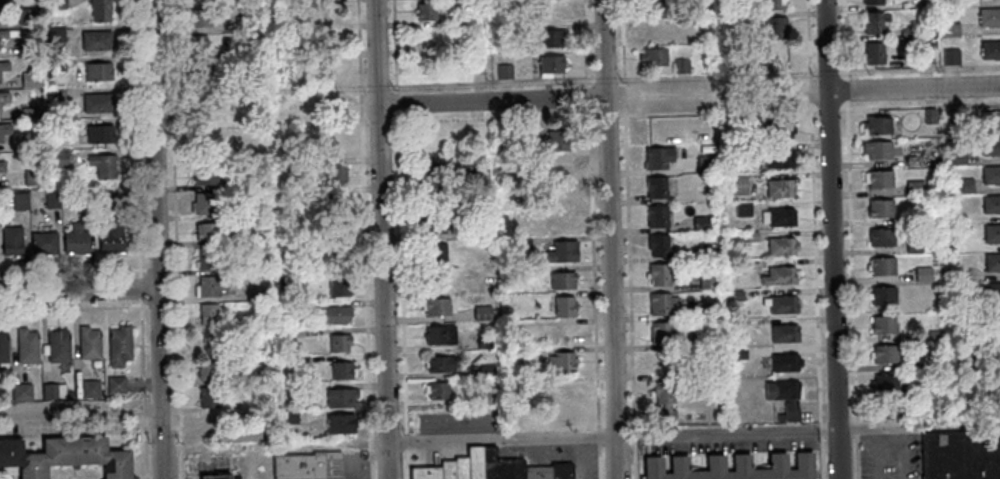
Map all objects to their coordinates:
building: (872, 2)
building: (653, 3)
building: (2, 4)
building: (56, 4)
building: (773, 5)
building: (550, 9)
building: (99, 10)
building: (425, 11)
building: (325, 14)
building: (26, 16)
building: (200, 17)
building: (988, 18)
building: (459, 19)
building: (730, 20)
building: (874, 22)
building: (242, 23)
building: (650, 27)
building: (775, 27)
building: (950, 29)
building: (908, 32)
building: (53, 33)
building: (3, 34)
building: (699, 36)
building: (549, 39)
building: (95, 41)
building: (323, 41)
building: (196, 45)
building: (26, 47)
building: (990, 50)
building: (241, 51)
building: (925, 52)
building: (873, 53)
building: (653, 56)
building: (950, 56)
building: (54, 63)
building: (550, 64)
building: (3, 66)
building: (681, 66)
building: (428, 67)
building: (475, 70)
building: (97, 71)
building: (503, 71)
road: (590, 73)
building: (200, 75)
road: (808, 75)
road: (605, 76)
building: (28, 80)
road: (370, 86)
road: (905, 89)
building: (55, 96)
building: (4, 98)
road: (492, 102)
building: (96, 103)
building: (28, 112)
road: (162, 112)
road: (679, 113)
building: (931, 118)
building: (952, 118)
building: (994, 121)
building: (878, 125)
building: (662, 128)
building: (780, 128)
building: (5, 129)
road: (200, 129)
building: (707, 132)
building: (99, 134)
building: (0, 140)
building: (28, 140)
building: (433, 140)
building: (557, 140)
building: (202, 142)
building: (337, 143)
building: (991, 145)
building: (876, 149)
building: (707, 150)
building: (660, 157)
building: (778, 157)
building: (959, 157)
building: (57, 158)
building: (915, 158)
building: (292, 164)
building: (704, 164)
building: (101, 166)
building: (2, 167)
building: (433, 169)
building: (556, 171)
building: (336, 172)
building: (991, 174)
building: (203, 175)
building: (31, 177)
building: (879, 178)
building: (738, 184)
building: (965, 184)
building: (657, 186)
building: (781, 187)
building: (916, 187)
building: (557, 195)
building: (432, 196)
building: (52, 199)
building: (104, 199)
road: (137, 199)
building: (84, 200)
building: (19, 201)
building: (991, 203)
building: (205, 204)
building: (334, 204)
building: (881, 207)
road: (849, 208)
building: (745, 209)
road: (814, 210)
building: (522, 214)
building: (659, 215)
building: (780, 216)
building: (434, 223)
building: (702, 223)
building: (559, 224)
building: (210, 231)
building: (471, 231)
building: (992, 232)
building: (752, 235)
building: (882, 236)
building: (111, 238)
road: (156, 239)
road: (176, 239)
road: (364, 239)
road: (381, 239)
road: (400, 239)
road: (592, 239)
road: (609, 239)
road: (627, 239)
road: (831, 239)
building: (75, 240)
building: (11, 242)
building: (43, 243)
building: (521, 243)
building: (659, 245)
building: (784, 246)
building: (915, 246)
building: (336, 251)
building: (434, 251)
building: (562, 252)
building: (707, 252)
building: (209, 258)
building: (992, 261)
building: (883, 265)
building: (255, 267)
road: (78, 273)
building: (924, 273)
building: (659, 274)
building: (781, 275)
building: (959, 275)
building: (285, 280)
building: (707, 280)
building: (562, 281)
building: (255, 282)
building: (211, 284)
building: (338, 287)
road: (79, 291)
building: (992, 291)
building: (253, 292)
building: (736, 294)
building: (884, 295)
building: (664, 302)
building: (782, 303)
building: (436, 306)
building: (564, 306)
road: (79, 309)
building: (704, 310)
building: (207, 313)
building: (481, 313)
building: (336, 315)
building: (995, 320)
building: (737, 323)
building: (885, 324)
building: (661, 331)
building: (786, 332)
building: (936, 334)
building: (440, 335)
building: (562, 335)
building: (212, 341)
building: (285, 341)
building: (483, 342)
building: (89, 343)
building: (339, 343)
building: (58, 346)
building: (119, 346)
building: (27, 347)
building: (3, 348)
building: (996, 348)
building: (739, 353)
building: (885, 353)
building: (520, 356)
building: (960, 360)
building: (562, 361)
building: (923, 361)
building: (294, 362)
building: (787, 362)
building: (440, 364)
building: (209, 370)
building: (341, 370)
building: (486, 370)
building: (257, 376)
building: (996, 378)
building: (886, 381)
building: (115, 385)
building: (564, 388)
building: (90, 389)
building: (437, 390)
building: (50, 391)
building: (60, 391)
building: (21, 392)
building: (69, 394)
building: (208, 396)
building: (786, 396)
building: (340, 398)
building: (485, 399)
building: (665, 400)
road: (144, 408)
road: (80, 412)
building: (289, 418)
building: (210, 422)
building: (339, 424)
road: (928, 424)
road: (856, 425)
building: (259, 428)
road: (736, 430)
road: (820, 430)
road: (501, 438)
parking lot: (729, 440)
road: (145, 448)
building: (74, 452)
building: (10, 454)
building: (961, 455)
road: (857, 456)
road: (820, 459)
parking lot: (586, 460)
building: (474, 463)
building: (301, 465)
building: (116, 466)
building: (499, 466)
building: (32, 467)
building: (460, 468)
building: (736, 468)
building: (446, 469)
building: (561, 471)
building: (536, 472)
building: (424, 473)
road: (74, 474)
building: (215, 477)
road: (0, 478)

